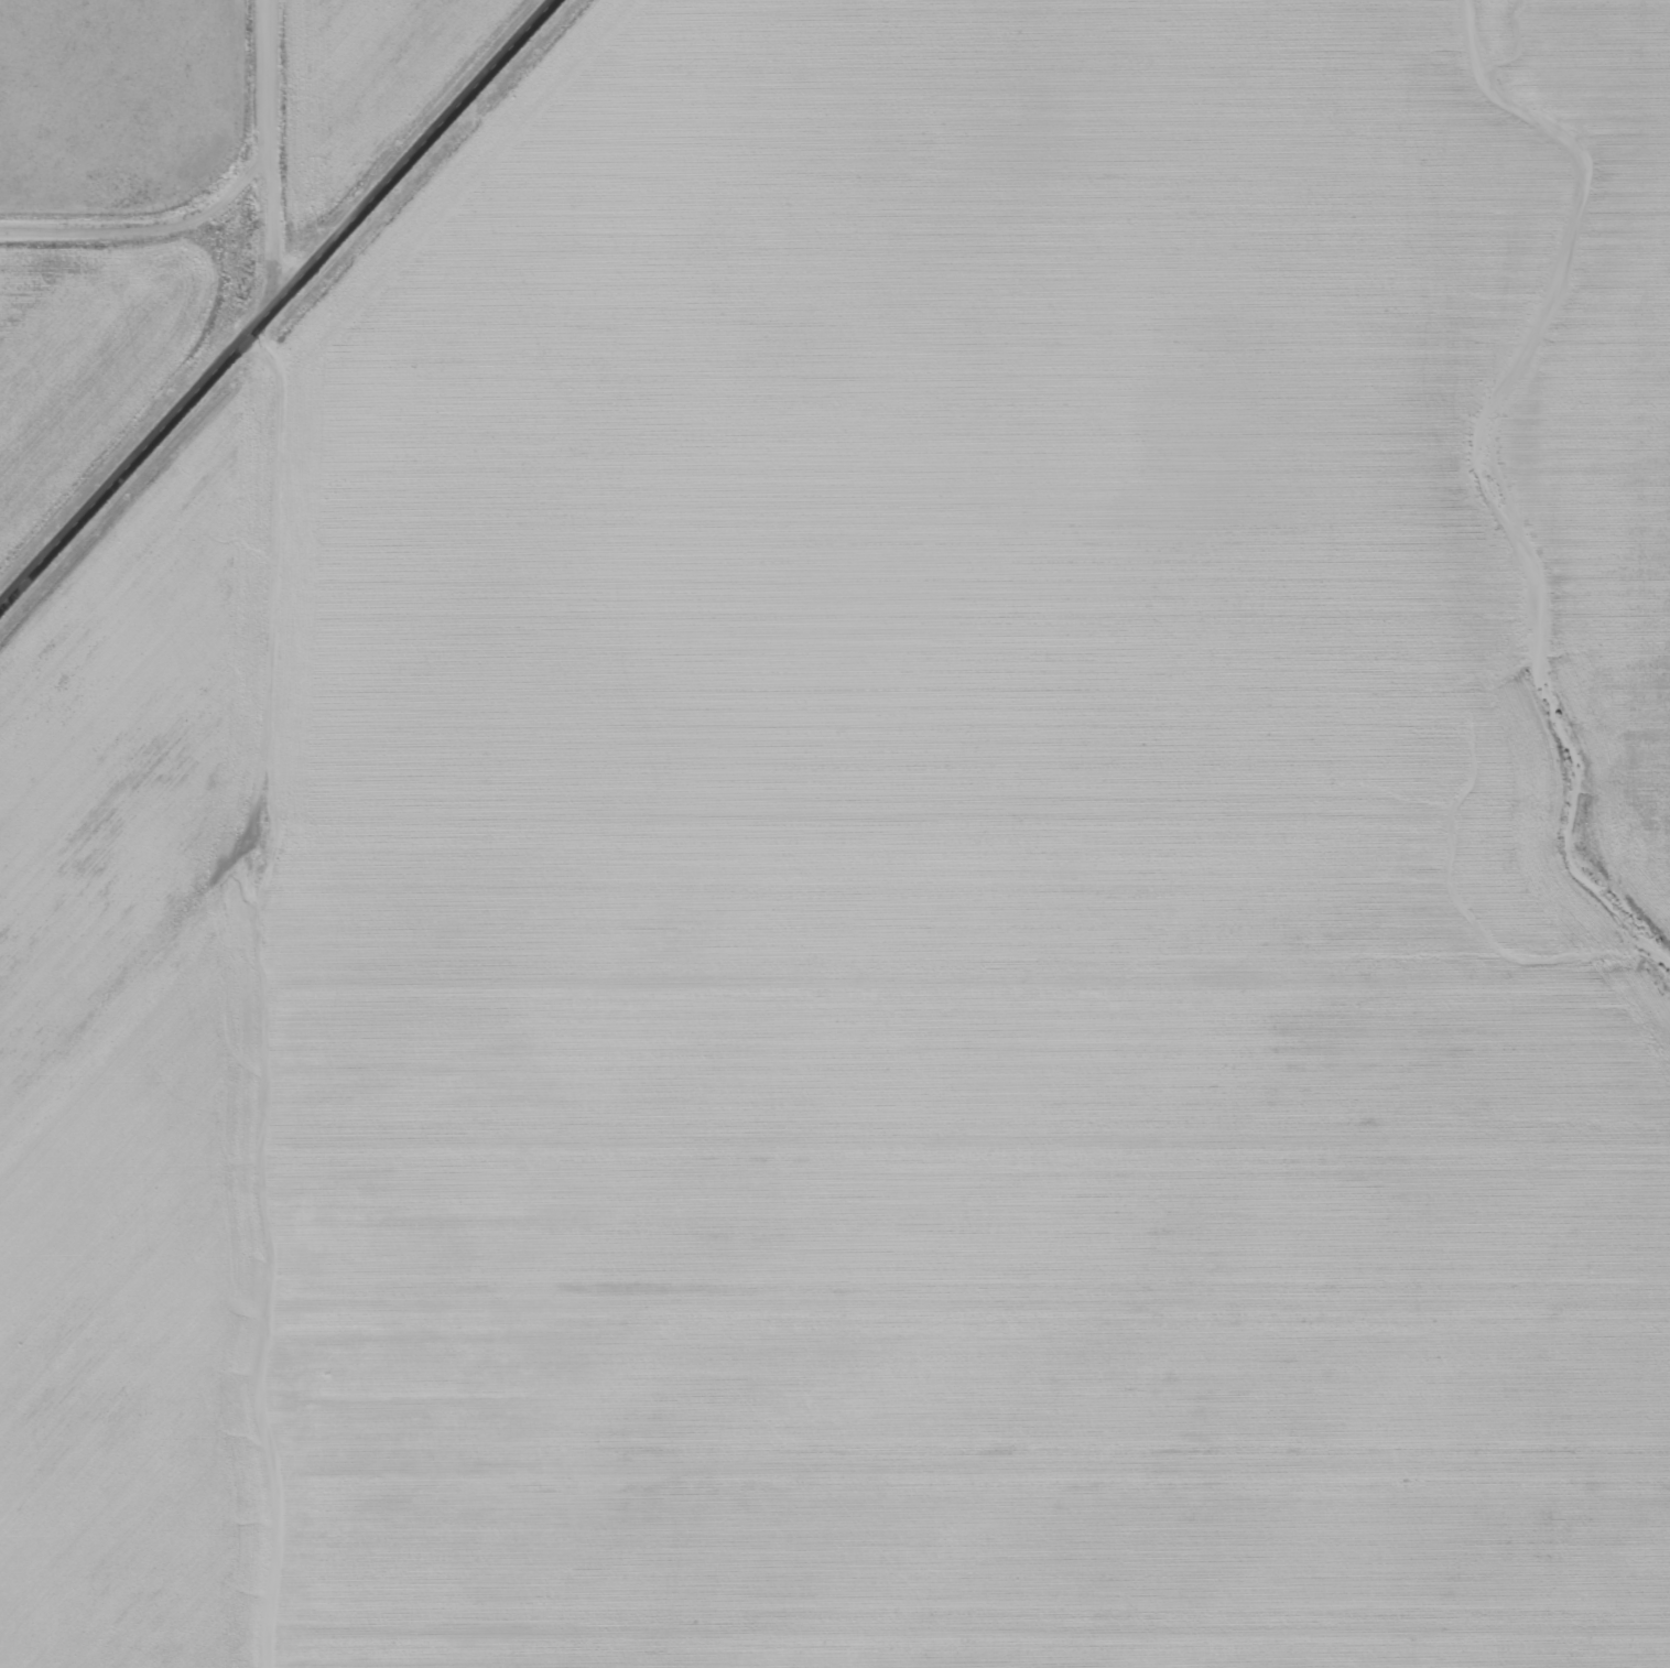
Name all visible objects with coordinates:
road: (219, 199)
road: (282, 216)
railway: (254, 278)
road: (281, 306)

